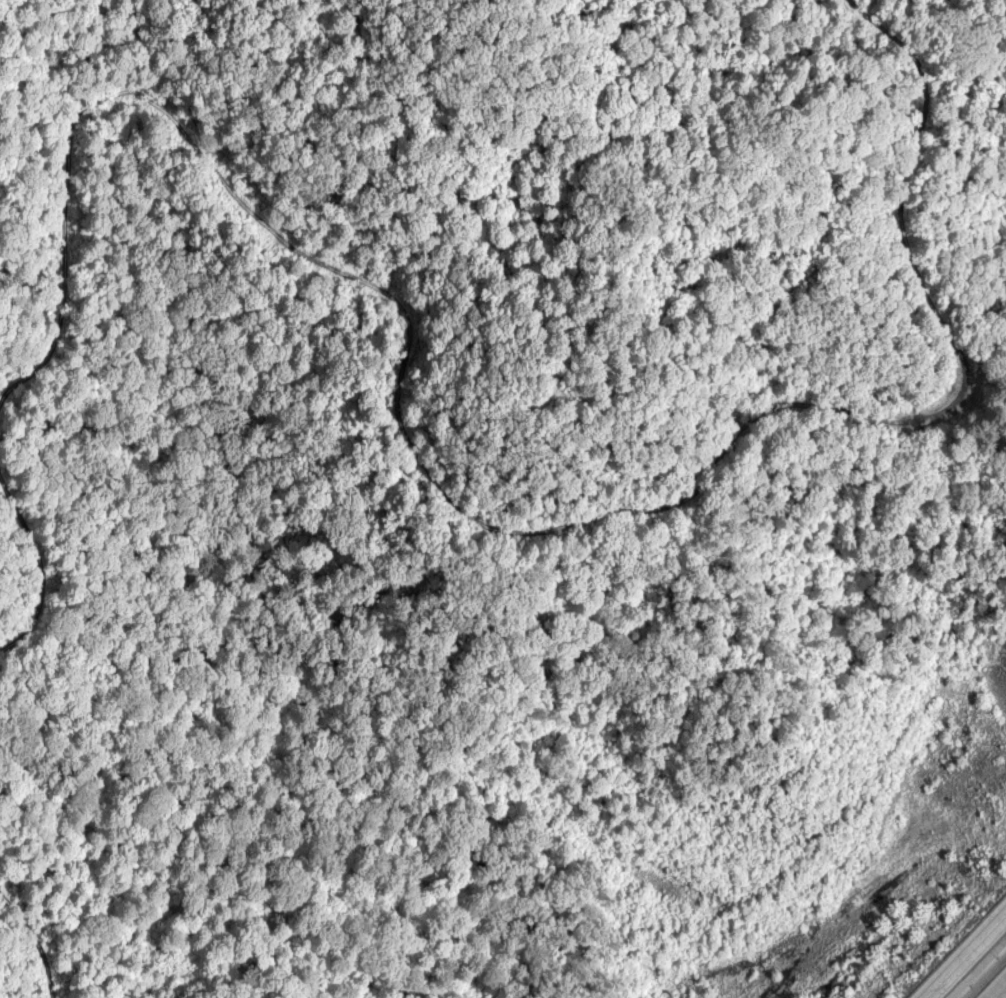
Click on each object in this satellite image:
road: (967, 959)
road: (998, 989)

